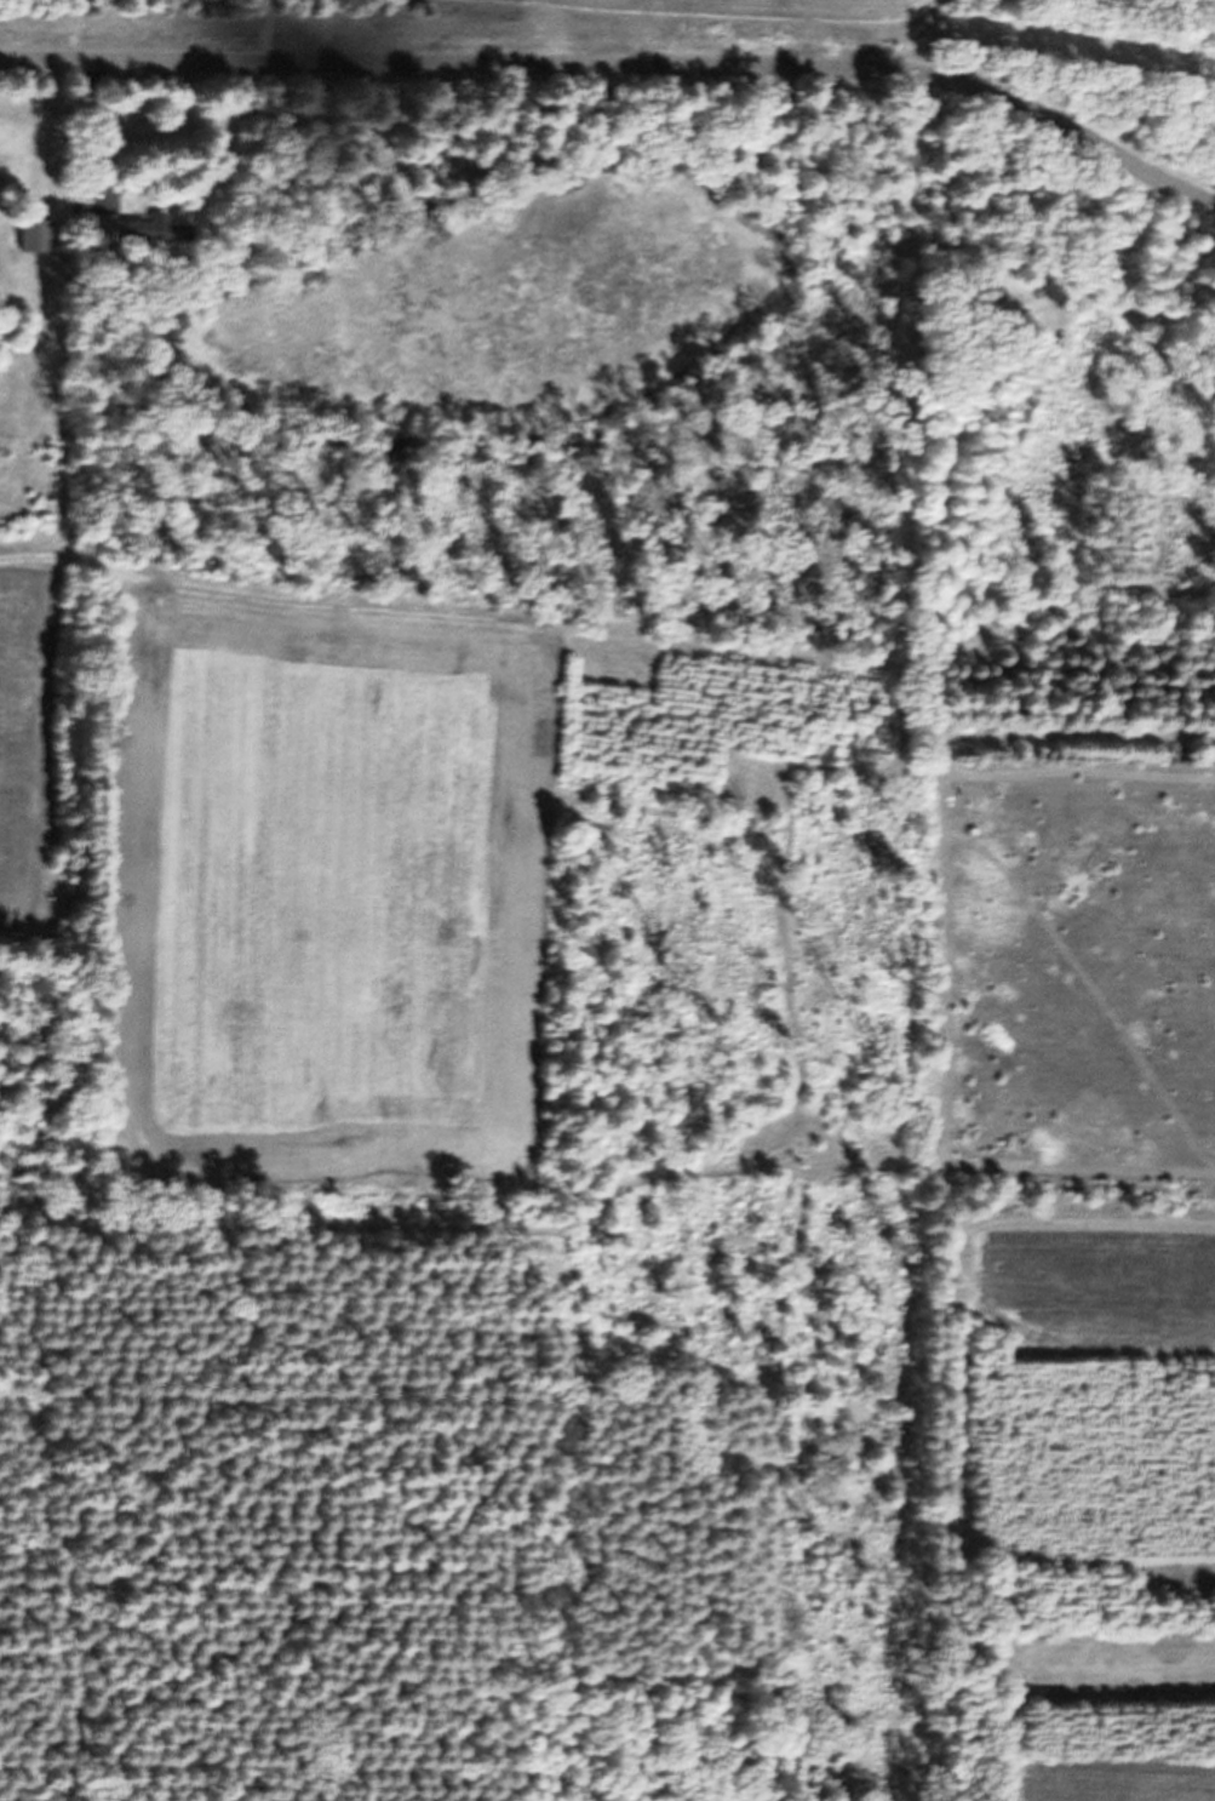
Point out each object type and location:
road: (617, 81)
building: (154, 236)
building: (104, 244)
building: (40, 246)
building: (993, 314)

